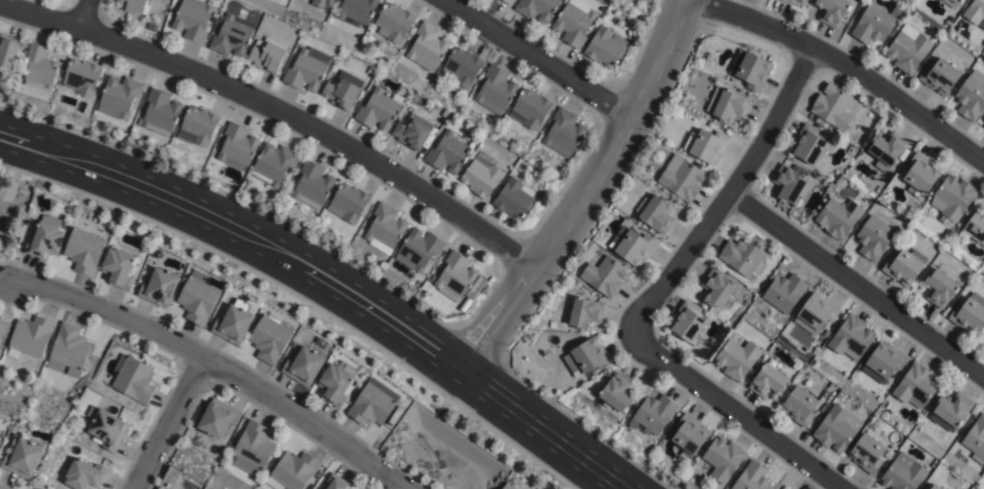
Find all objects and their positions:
building: (118, 1)
building: (508, 1)
building: (797, 1)
building: (319, 3)
building: (951, 3)
building: (136, 6)
building: (536, 8)
building: (357, 9)
building: (831, 10)
building: (975, 12)
road: (81, 14)
building: (192, 19)
building: (394, 21)
building: (574, 21)
building: (873, 23)
building: (232, 35)
building: (428, 46)
building: (604, 46)
building: (8, 48)
building: (908, 48)
building: (268, 54)
road: (535, 58)
building: (461, 67)
road: (845, 67)
building: (39, 68)
building: (751, 69)
building: (372, 70)
building: (305, 71)
building: (939, 76)
building: (81, 77)
building: (343, 89)
building: (496, 89)
building: (971, 95)
building: (118, 96)
building: (728, 104)
building: (832, 106)
building: (379, 109)
building: (531, 109)
road: (277, 110)
building: (160, 112)
building: (197, 126)
building: (983, 127)
building: (415, 132)
building: (564, 132)
building: (706, 145)
building: (807, 145)
building: (237, 146)
building: (886, 150)
building: (448, 152)
building: (274, 163)
building: (920, 175)
building: (481, 176)
building: (681, 178)
building: (790, 184)
building: (312, 185)
road: (733, 192)
road: (583, 194)
building: (954, 197)
building: (514, 199)
building: (348, 203)
building: (657, 214)
building: (838, 217)
building: (385, 226)
building: (975, 227)
building: (46, 238)
building: (873, 238)
building: (634, 248)
building: (85, 250)
building: (418, 250)
building: (741, 256)
building: (904, 266)
building: (119, 268)
building: (604, 276)
building: (456, 277)
road: (327, 284)
building: (159, 288)
building: (717, 289)
building: (939, 289)
road: (857, 290)
building: (785, 292)
building: (197, 298)
building: (584, 313)
building: (969, 315)
building: (816, 316)
building: (234, 323)
building: (686, 323)
building: (3, 332)
building: (30, 337)
building: (270, 338)
building: (852, 338)
building: (69, 351)
building: (590, 357)
building: (737, 359)
building: (885, 361)
road: (215, 364)
building: (304, 367)
building: (134, 380)
building: (769, 382)
building: (337, 383)
building: (915, 387)
building: (615, 394)
building: (373, 404)
building: (800, 407)
road: (734, 411)
building: (951, 412)
building: (653, 415)
building: (217, 419)
road: (167, 422)
building: (107, 429)
building: (836, 429)
building: (975, 438)
building: (690, 440)
building: (0, 444)
building: (253, 447)
building: (867, 454)
building: (24, 457)
building: (723, 459)
building: (292, 472)
building: (903, 473)
building: (83, 475)
building: (752, 478)
building: (336, 483)
building: (509, 486)
building: (524, 487)
building: (933, 488)

